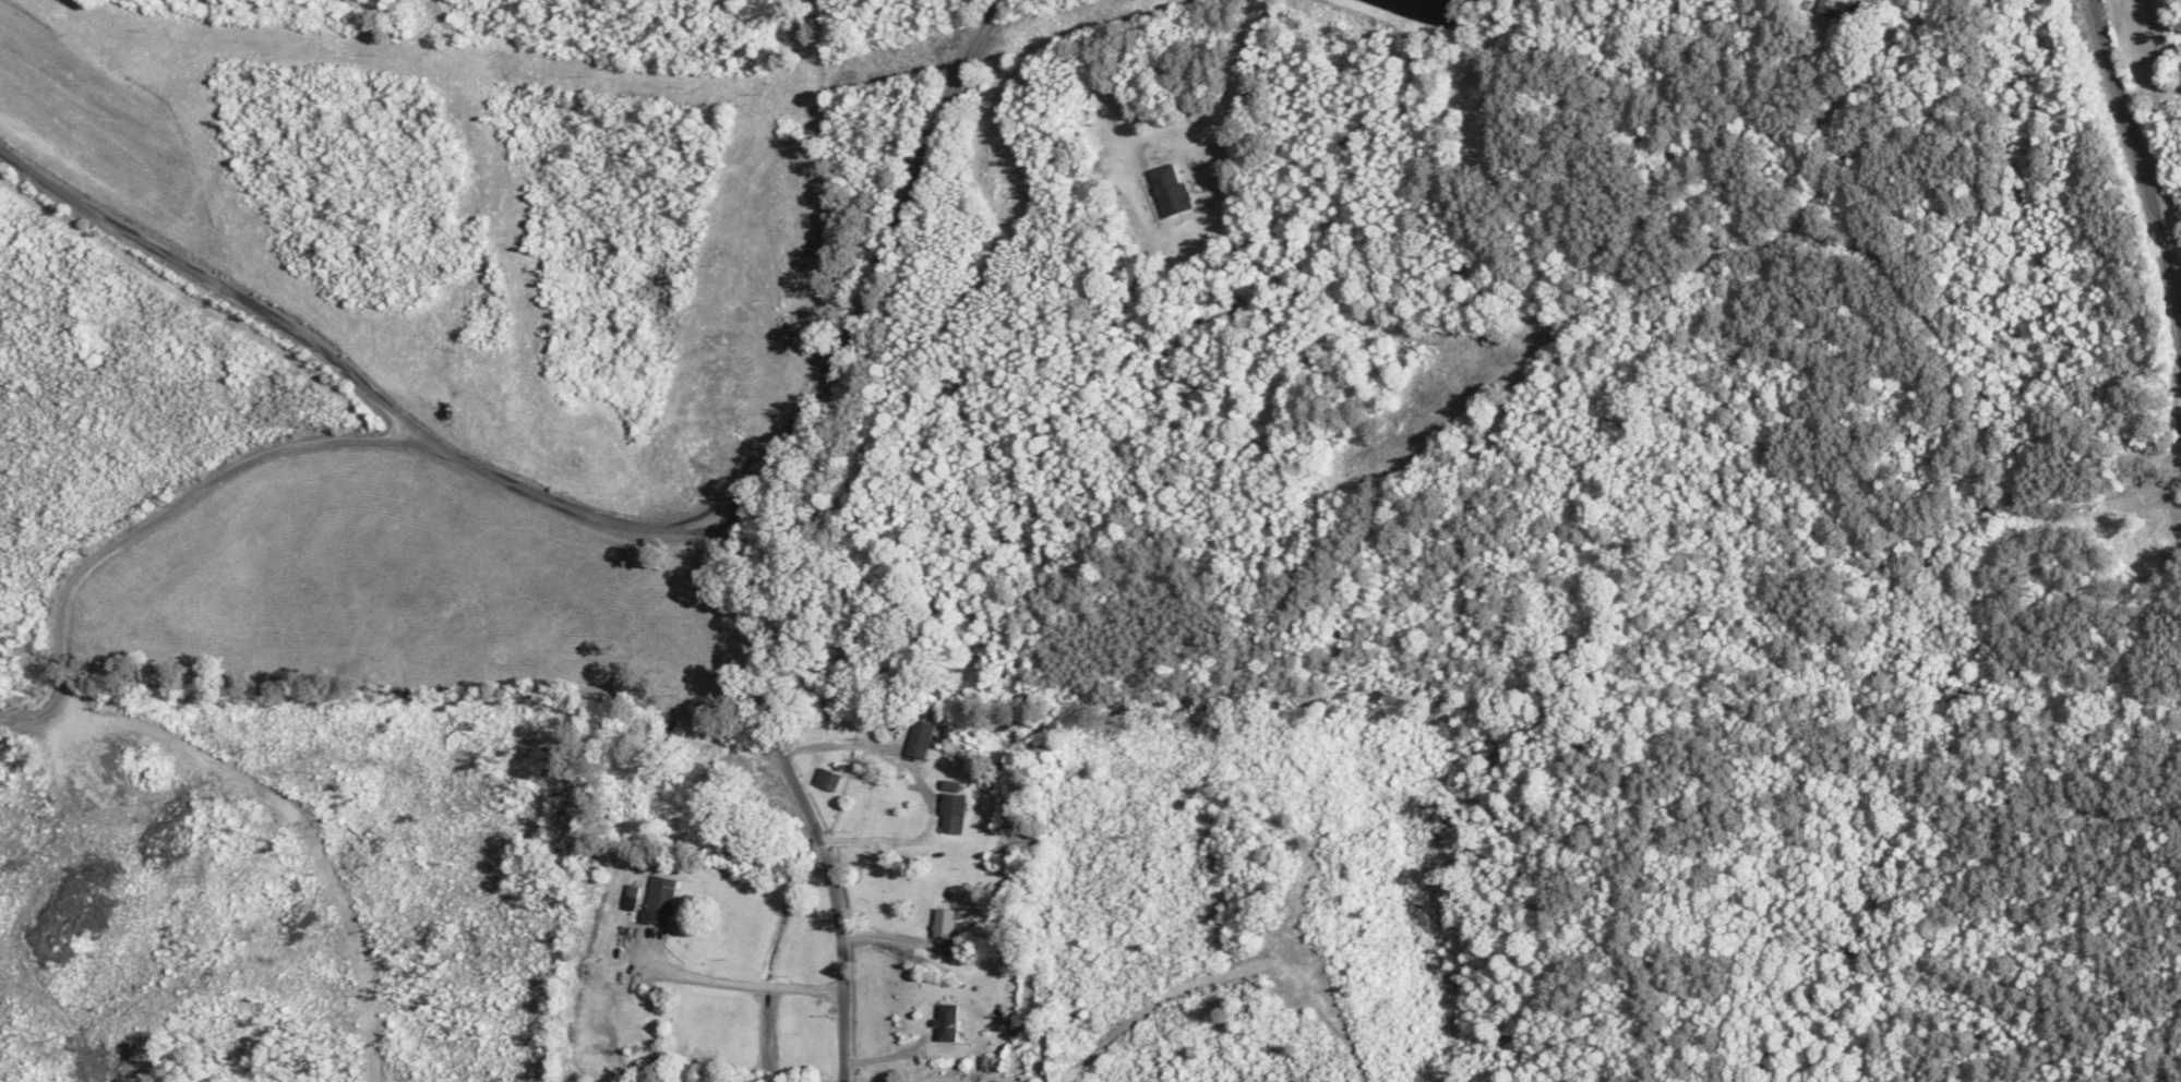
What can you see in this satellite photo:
building: (1829, 10)
road: (2136, 165)
road: (873, 270)
road: (209, 303)
road: (302, 446)
building: (916, 741)
building: (825, 781)
road: (796, 807)
building: (949, 810)
building: (656, 901)
building: (940, 924)
building: (944, 1024)

